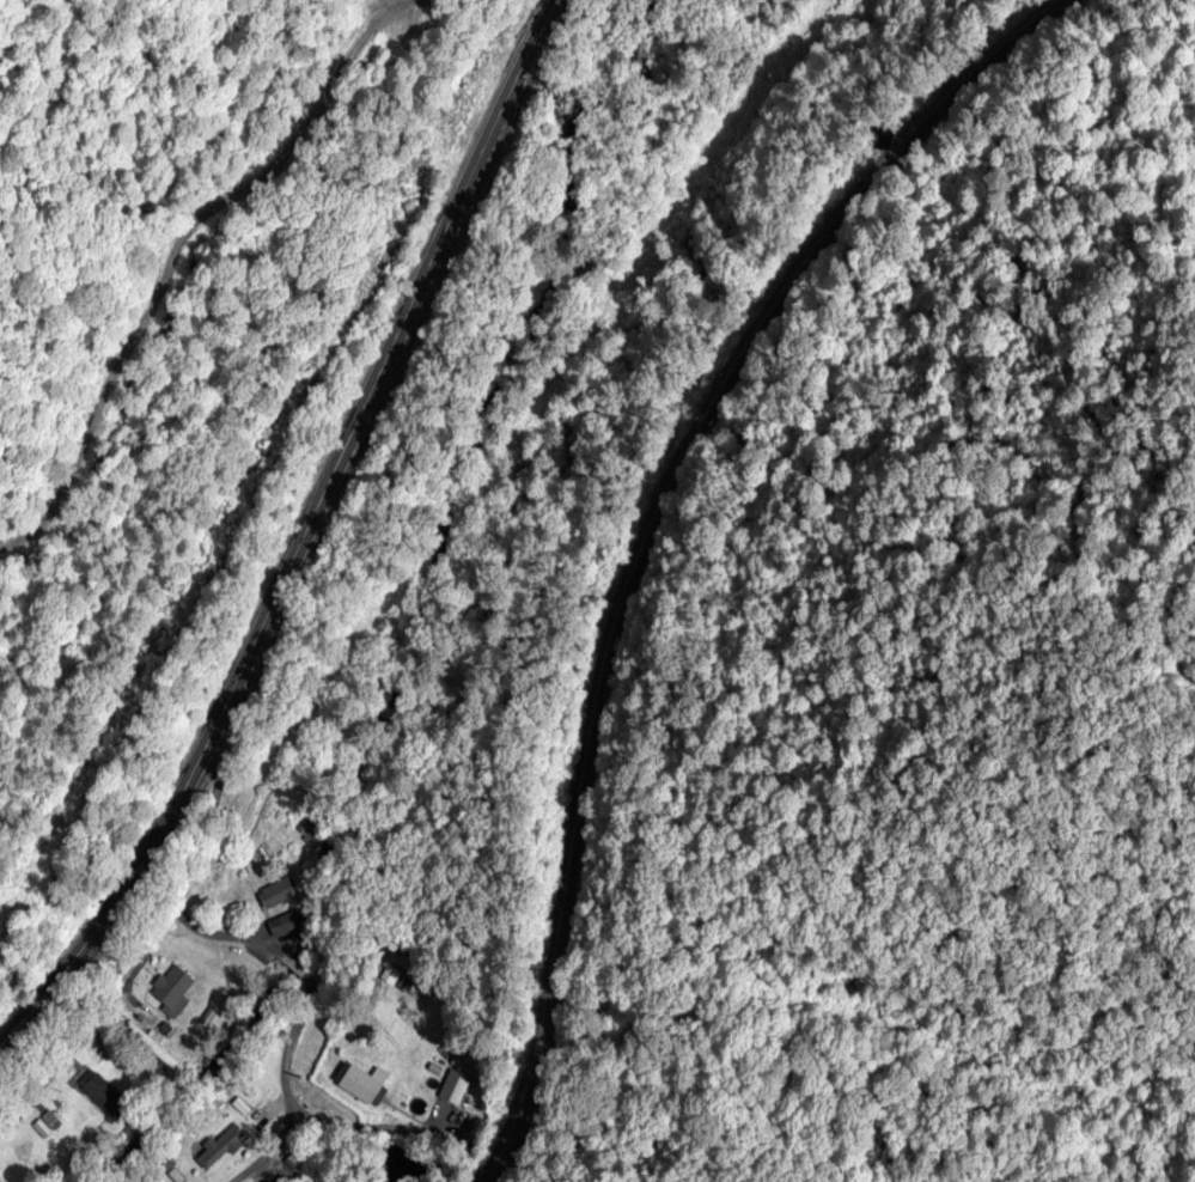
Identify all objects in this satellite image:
road: (170, 255)
railway: (650, 526)
road: (297, 541)
road: (200, 816)
building: (280, 896)
building: (177, 992)
road: (103, 1003)
road: (297, 1011)
building: (365, 1086)
building: (106, 1097)

